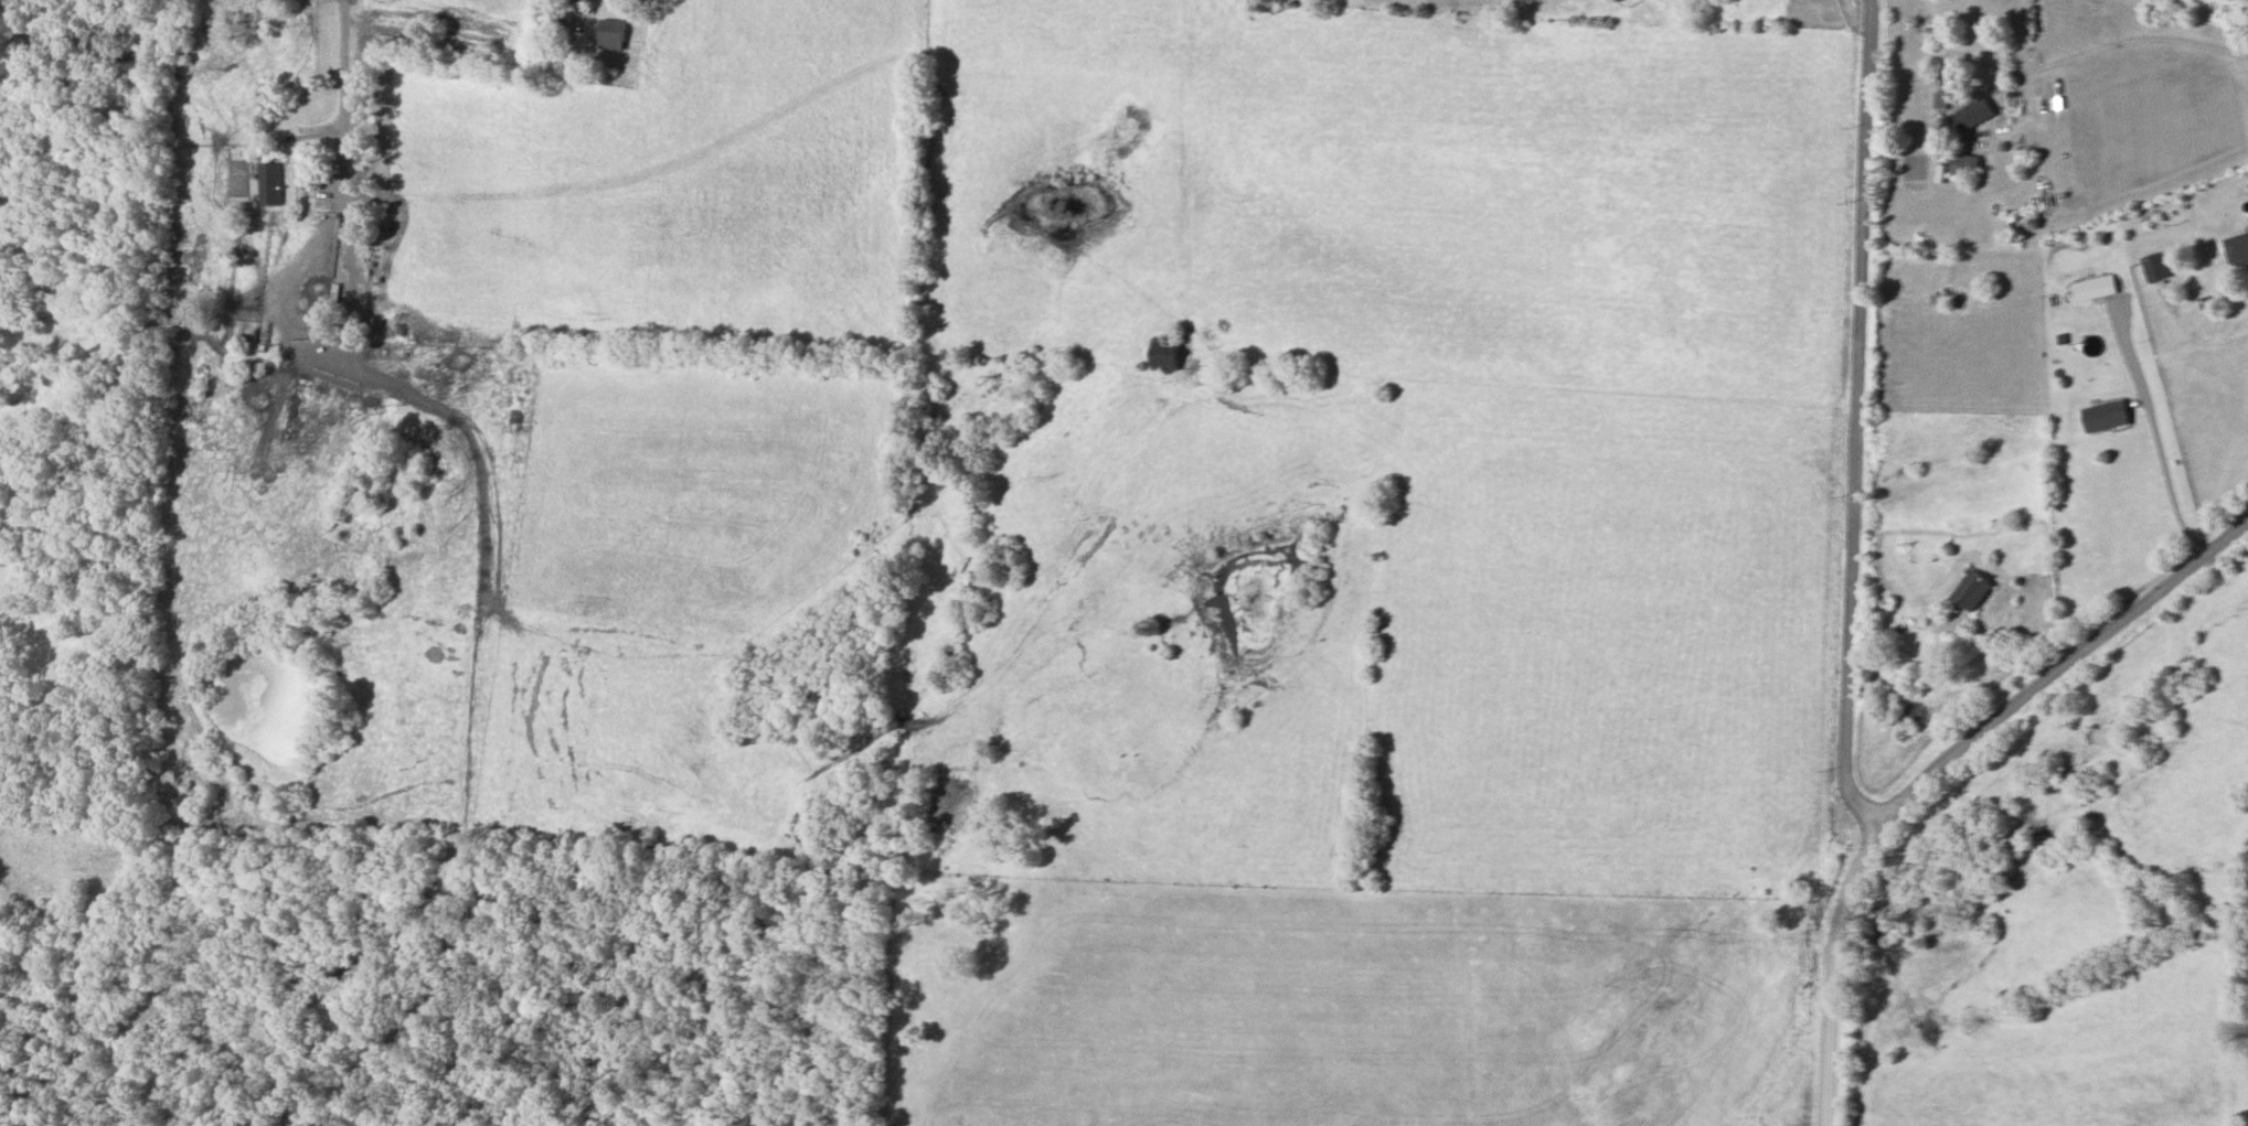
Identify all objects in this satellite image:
road: (577, 12)
building: (612, 36)
road: (2098, 47)
road: (1948, 58)
building: (1942, 104)
building: (1974, 117)
building: (1965, 169)
building: (271, 186)
building: (2237, 249)
building: (2156, 269)
building: (2095, 291)
building: (1165, 357)
road: (362, 374)
building: (2106, 418)
road: (1853, 422)
road: (2153, 436)
building: (1973, 593)
road: (1985, 648)
road: (2061, 667)
road: (1834, 969)

